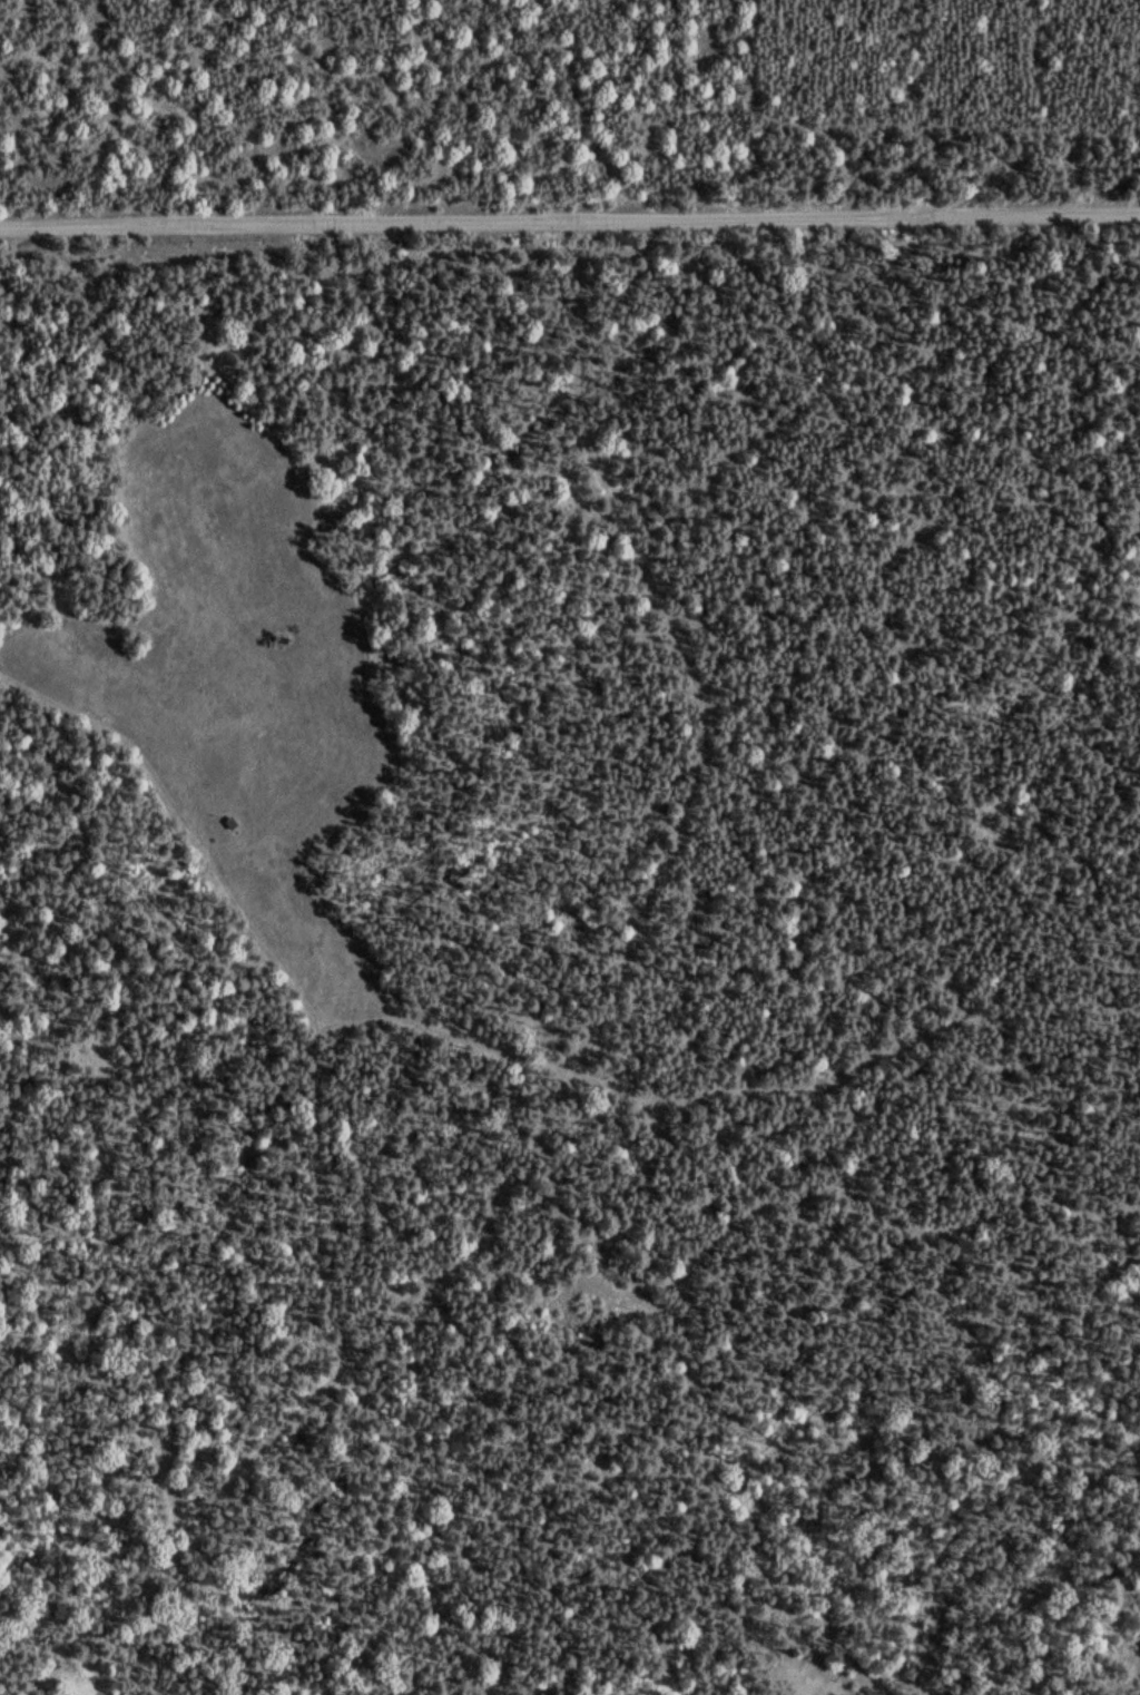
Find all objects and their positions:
road: (570, 223)
road: (729, 1093)
road: (327, 1138)
road: (487, 1232)

